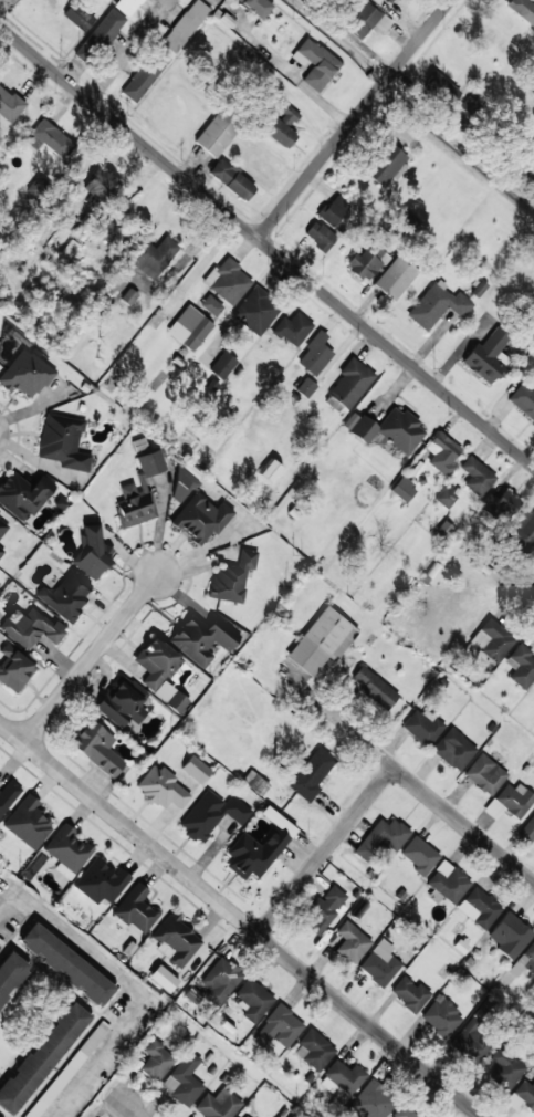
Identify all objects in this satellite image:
building: (377, 0)
building: (389, 1)
building: (127, 6)
building: (256, 7)
building: (522, 10)
building: (77, 15)
building: (364, 22)
building: (185, 25)
building: (100, 36)
road: (125, 48)
building: (314, 64)
building: (145, 74)
building: (441, 86)
building: (9, 105)
road: (355, 118)
building: (283, 125)
building: (217, 133)
building: (52, 137)
building: (385, 165)
building: (232, 179)
building: (101, 188)
building: (333, 210)
building: (112, 232)
building: (320, 236)
road: (266, 244)
building: (153, 257)
building: (367, 261)
building: (395, 276)
building: (228, 281)
building: (128, 296)
building: (211, 305)
building: (437, 305)
building: (255, 311)
building: (189, 327)
building: (292, 328)
building: (315, 354)
building: (488, 356)
building: (222, 365)
building: (25, 374)
building: (350, 383)
building: (305, 387)
building: (523, 400)
road: (62, 405)
building: (387, 429)
building: (63, 441)
building: (442, 452)
building: (270, 471)
building: (477, 476)
building: (184, 482)
building: (404, 489)
building: (138, 492)
building: (23, 493)
building: (444, 497)
building: (498, 505)
building: (201, 518)
building: (2, 528)
building: (522, 532)
building: (1, 551)
building: (91, 553)
building: (232, 577)
building: (66, 594)
building: (31, 627)
building: (202, 639)
road: (201, 640)
building: (492, 640)
building: (321, 641)
building: (521, 666)
building: (14, 668)
building: (160, 671)
building: (533, 687)
building: (373, 688)
building: (122, 701)
building: (421, 727)
building: (96, 747)
building: (453, 749)
building: (196, 769)
building: (311, 774)
building: (485, 774)
building: (254, 783)
building: (161, 789)
building: (9, 794)
building: (514, 800)
building: (211, 814)
building: (29, 822)
road: (462, 825)
building: (527, 829)
road: (130, 832)
building: (381, 838)
road: (328, 846)
building: (259, 847)
building: (419, 855)
building: (101, 881)
building: (447, 884)
building: (479, 908)
building: (136, 909)
building: (325, 911)
building: (510, 935)
building: (176, 940)
building: (0, 942)
building: (352, 942)
building: (523, 960)
building: (380, 963)
building: (67, 965)
building: (10, 972)
building: (163, 978)
building: (220, 980)
road: (130, 985)
building: (409, 994)
building: (253, 1000)
building: (441, 1016)
road: (368, 1023)
building: (280, 1026)
building: (469, 1045)
building: (314, 1050)
building: (41, 1057)
building: (156, 1061)
building: (533, 1067)
building: (67, 1069)
building: (345, 1076)
building: (184, 1079)
building: (522, 1095)
building: (371, 1102)
building: (217, 1105)
road: (133, 1109)
building: (402, 1111)
building: (242, 1115)

